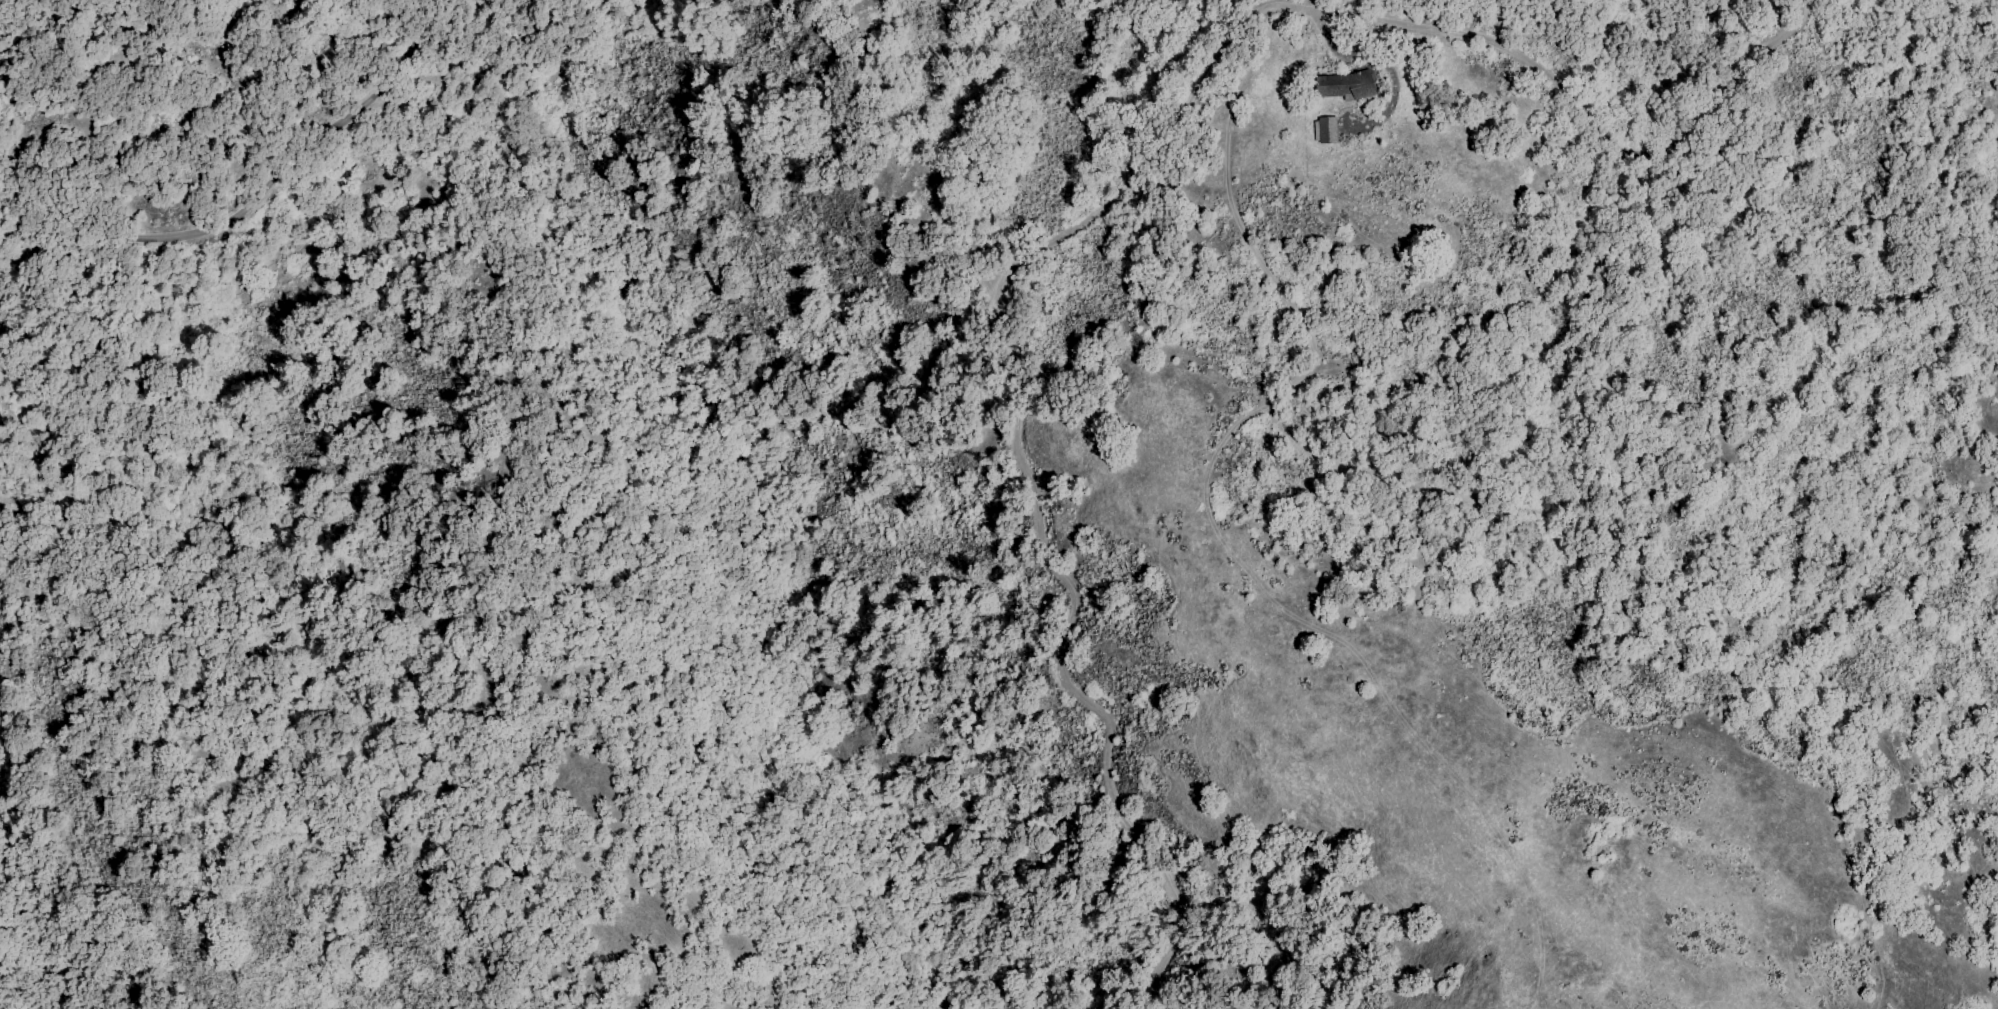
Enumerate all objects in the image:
road: (1906, 41)
building: (1352, 86)
building: (1326, 129)
road: (284, 178)
road: (1101, 210)

